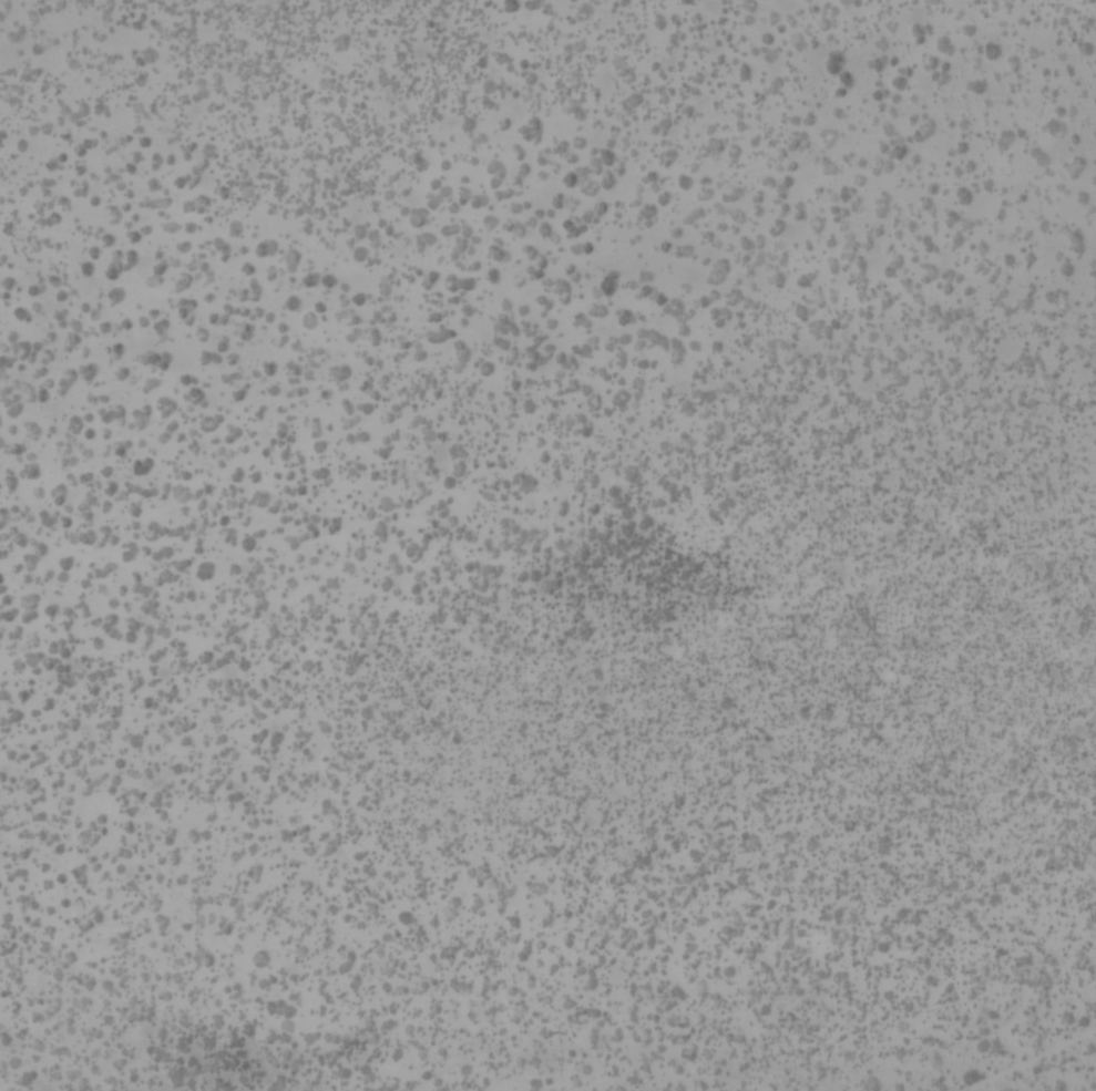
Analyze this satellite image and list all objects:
road: (1024, 1057)

